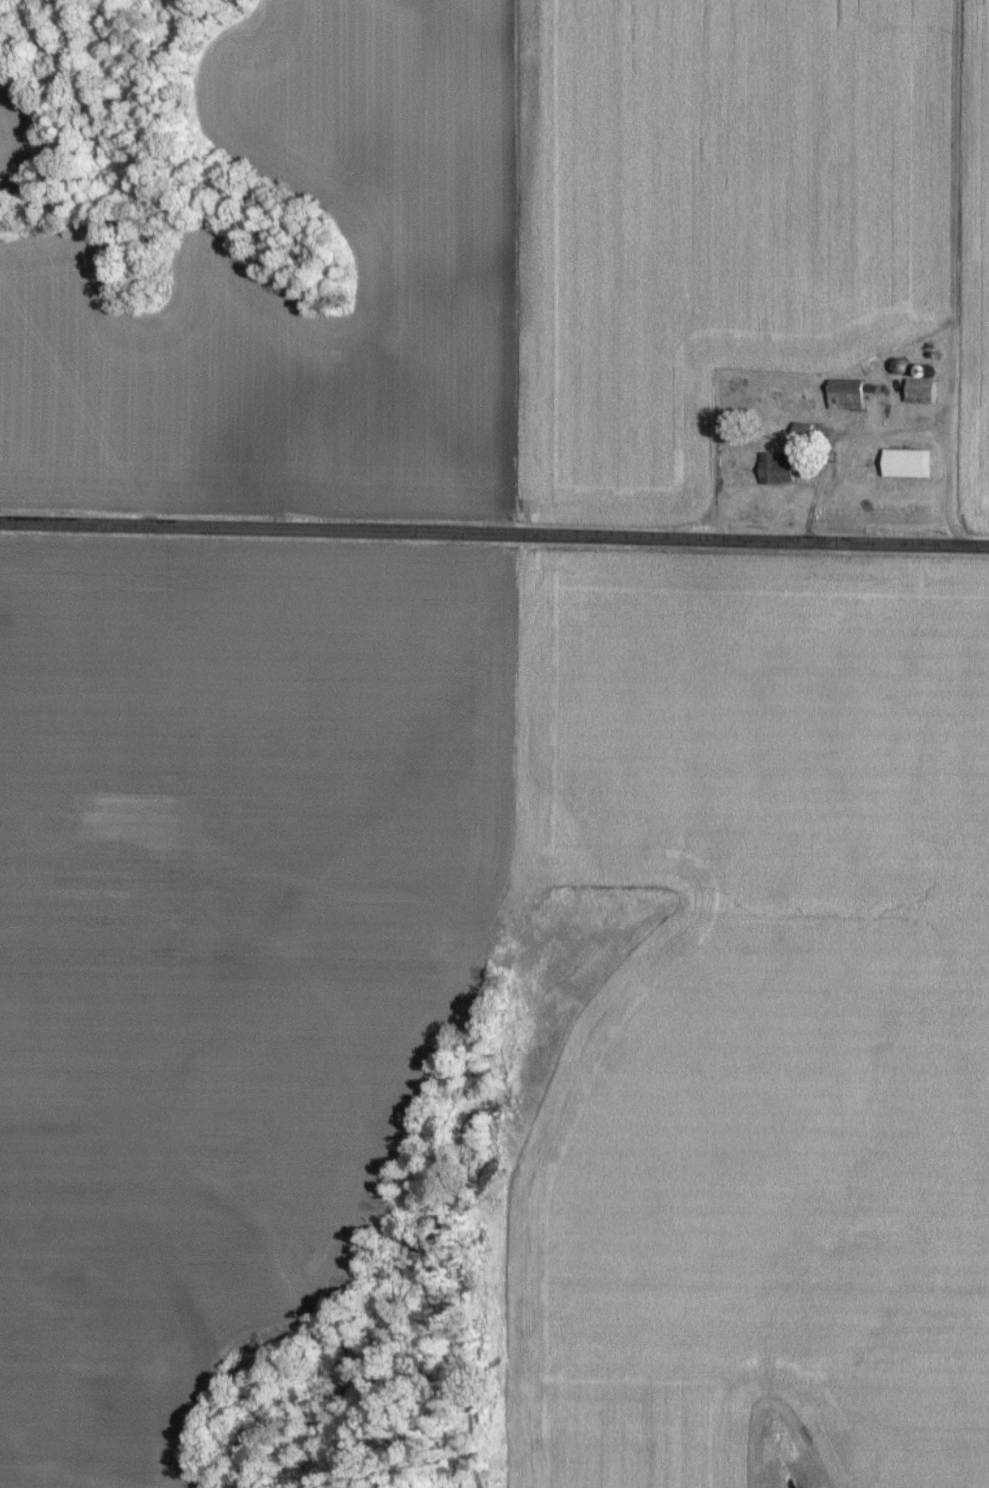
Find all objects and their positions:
building: (919, 388)
building: (842, 391)
building: (800, 428)
road: (893, 428)
building: (904, 460)
building: (774, 466)
road: (494, 534)
road: (988, 543)

